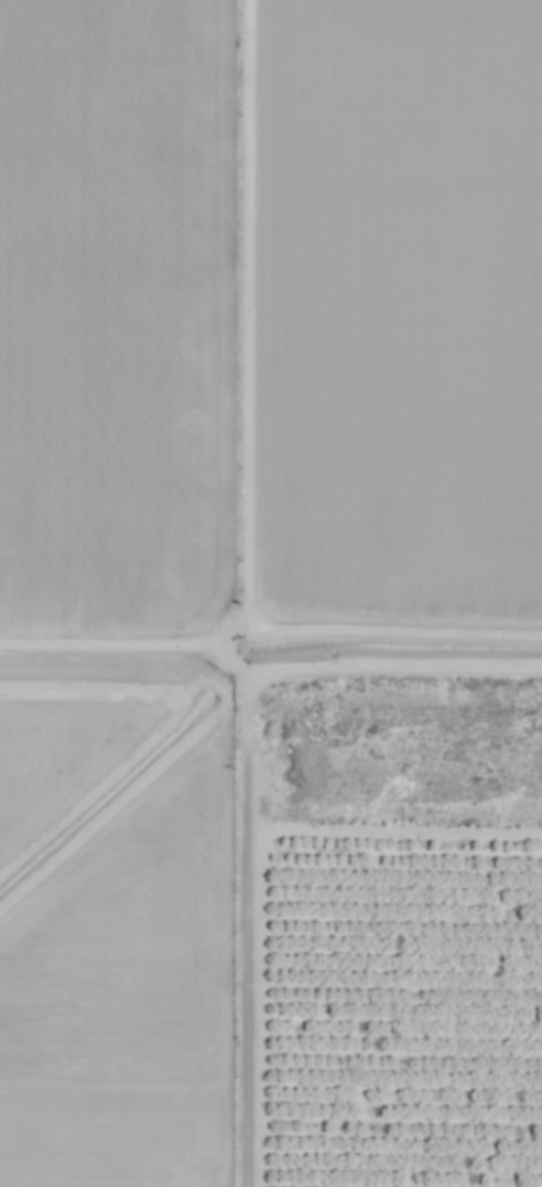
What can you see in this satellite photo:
crop: (271, 593)
crop: (124, 904)

